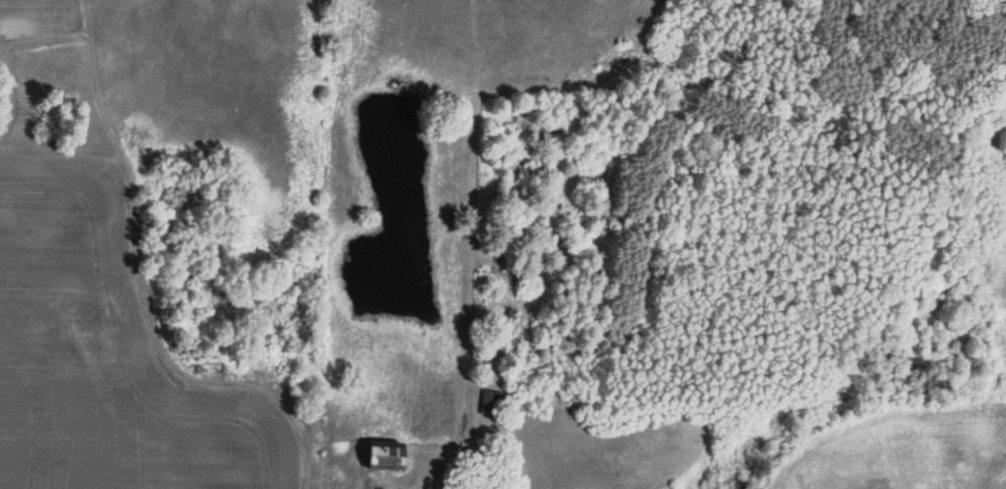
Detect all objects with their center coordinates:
building: (499, 332)
building: (490, 403)
building: (382, 459)

